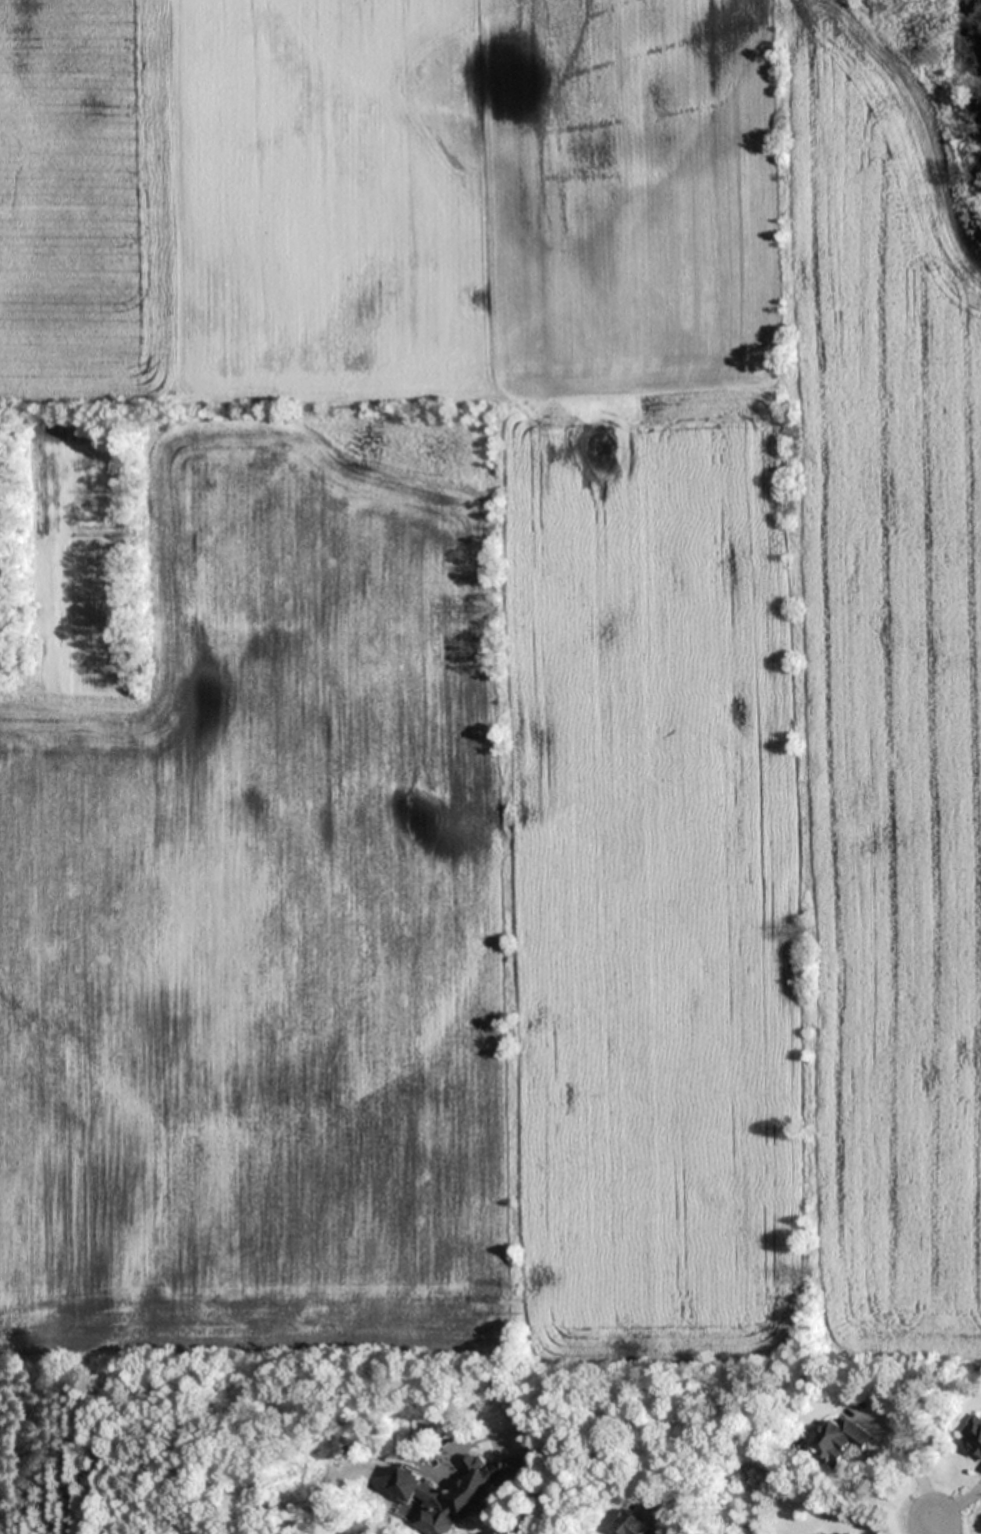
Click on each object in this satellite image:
crop: (492, 684)
building: (972, 1434)
building: (842, 1441)
park: (125, 1450)
building: (460, 1492)
building: (632, 1525)
road: (939, 1525)

